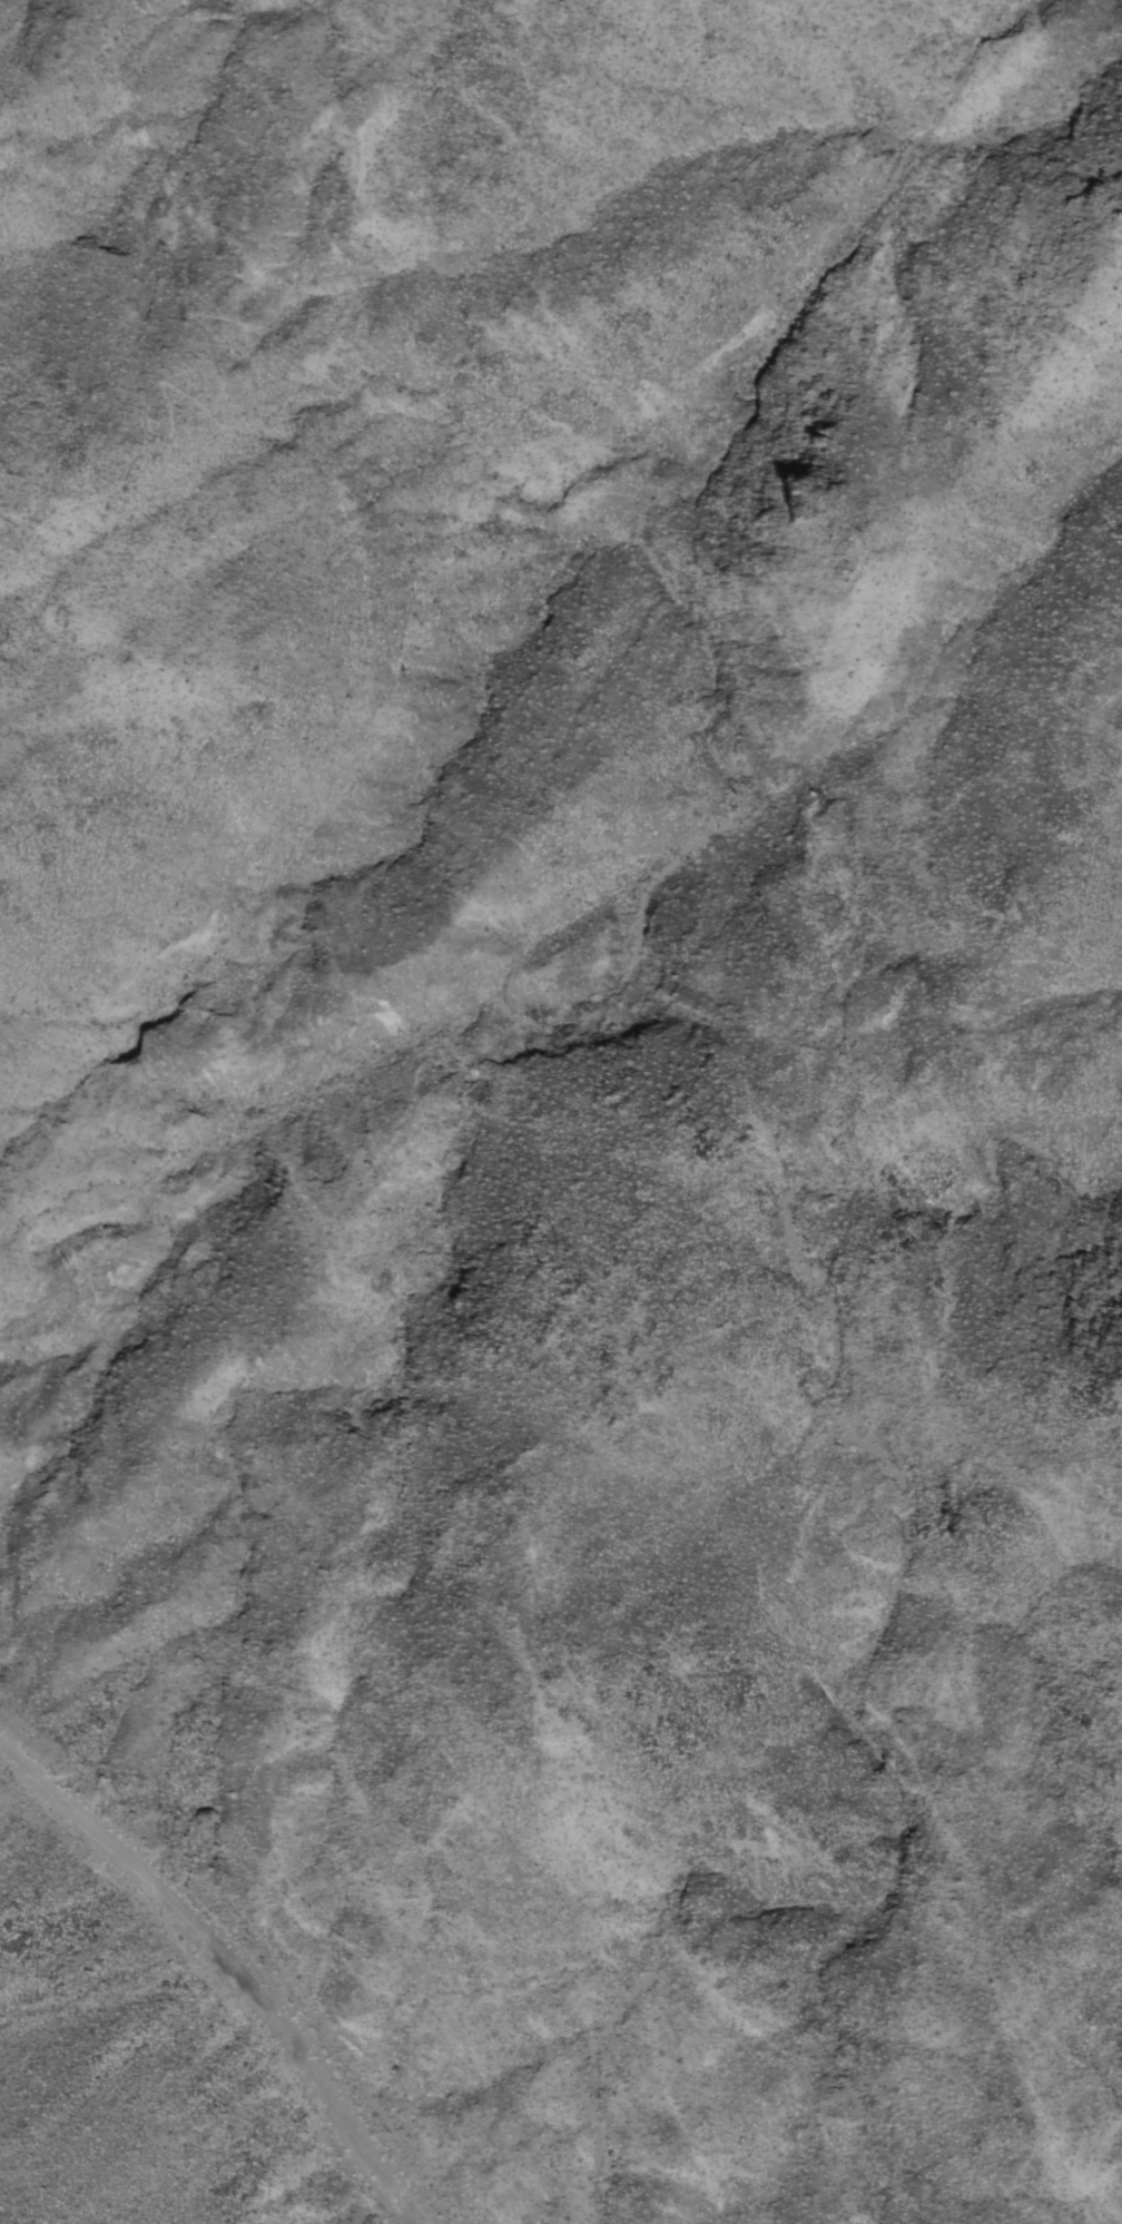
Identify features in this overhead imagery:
road: (208, 338)
road: (233, 1964)

